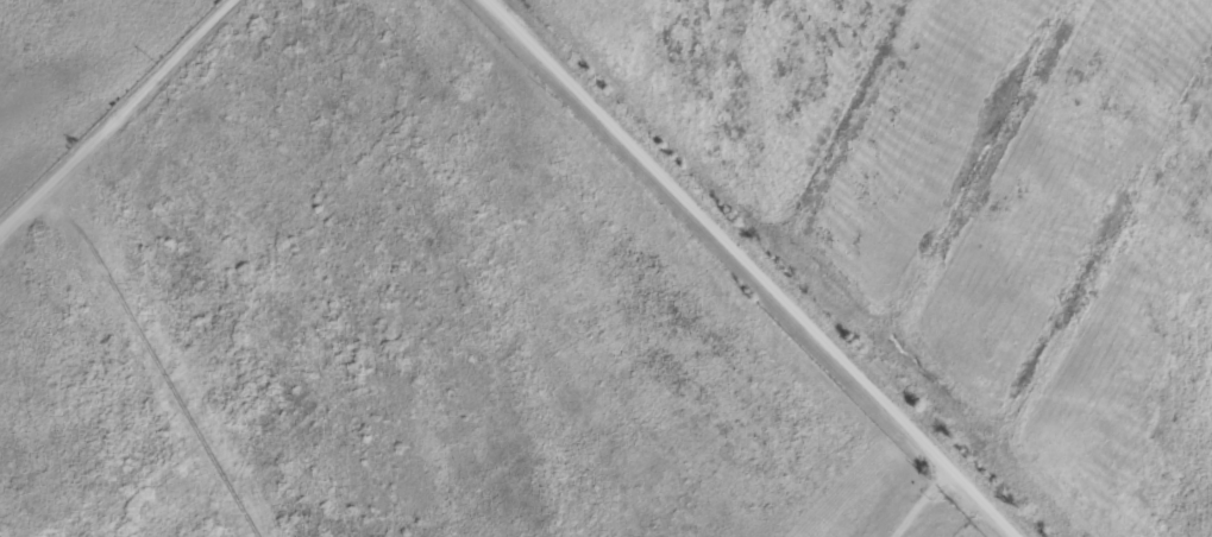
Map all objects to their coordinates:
road: (119, 118)
road: (778, 265)
road: (923, 484)

